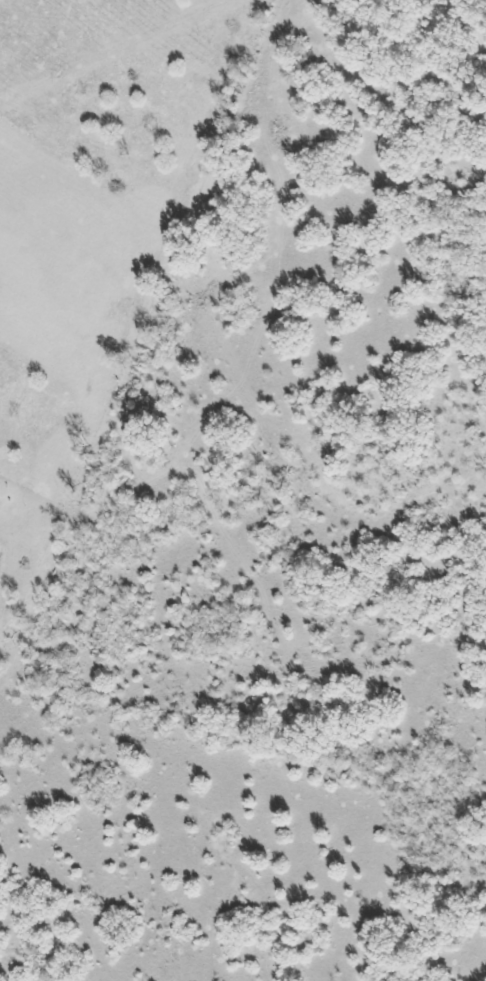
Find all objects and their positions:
road: (394, 196)

